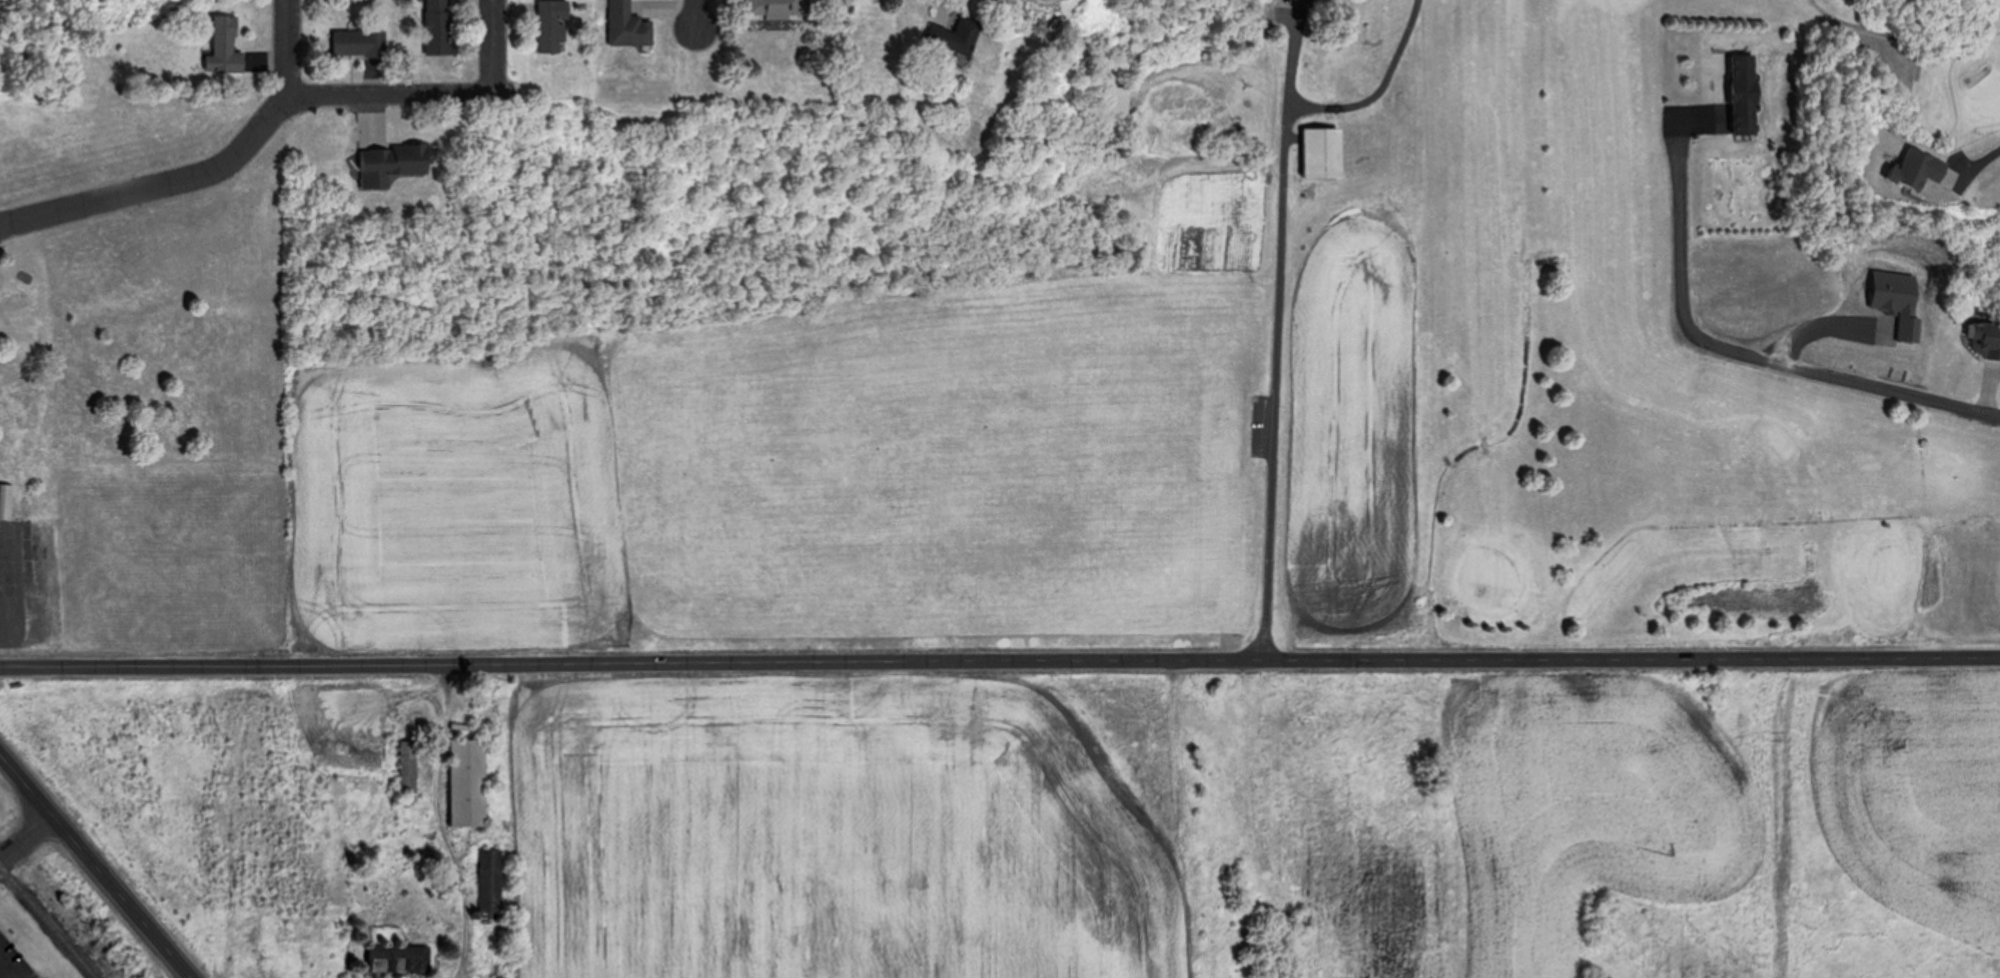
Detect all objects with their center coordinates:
building: (776, 9)
road: (694, 14)
building: (628, 25)
building: (551, 26)
building: (437, 27)
building: (955, 36)
building: (359, 43)
building: (225, 46)
road: (490, 46)
road: (281, 47)
road: (1911, 48)
building: (1356, 76)
road: (384, 94)
building: (1745, 94)
building: (1119, 110)
building: (1324, 152)
building: (393, 164)
building: (1920, 170)
road: (157, 185)
park: (1548, 273)
building: (1987, 340)
road: (1741, 347)
road: (1278, 361)
building: (6, 490)
road: (1761, 521)
road: (1632, 658)
road: (632, 663)
building: (408, 766)
building: (468, 781)
road: (436, 823)
road: (24, 835)
road: (94, 867)
building: (490, 882)
railway: (47, 921)
building: (399, 957)

